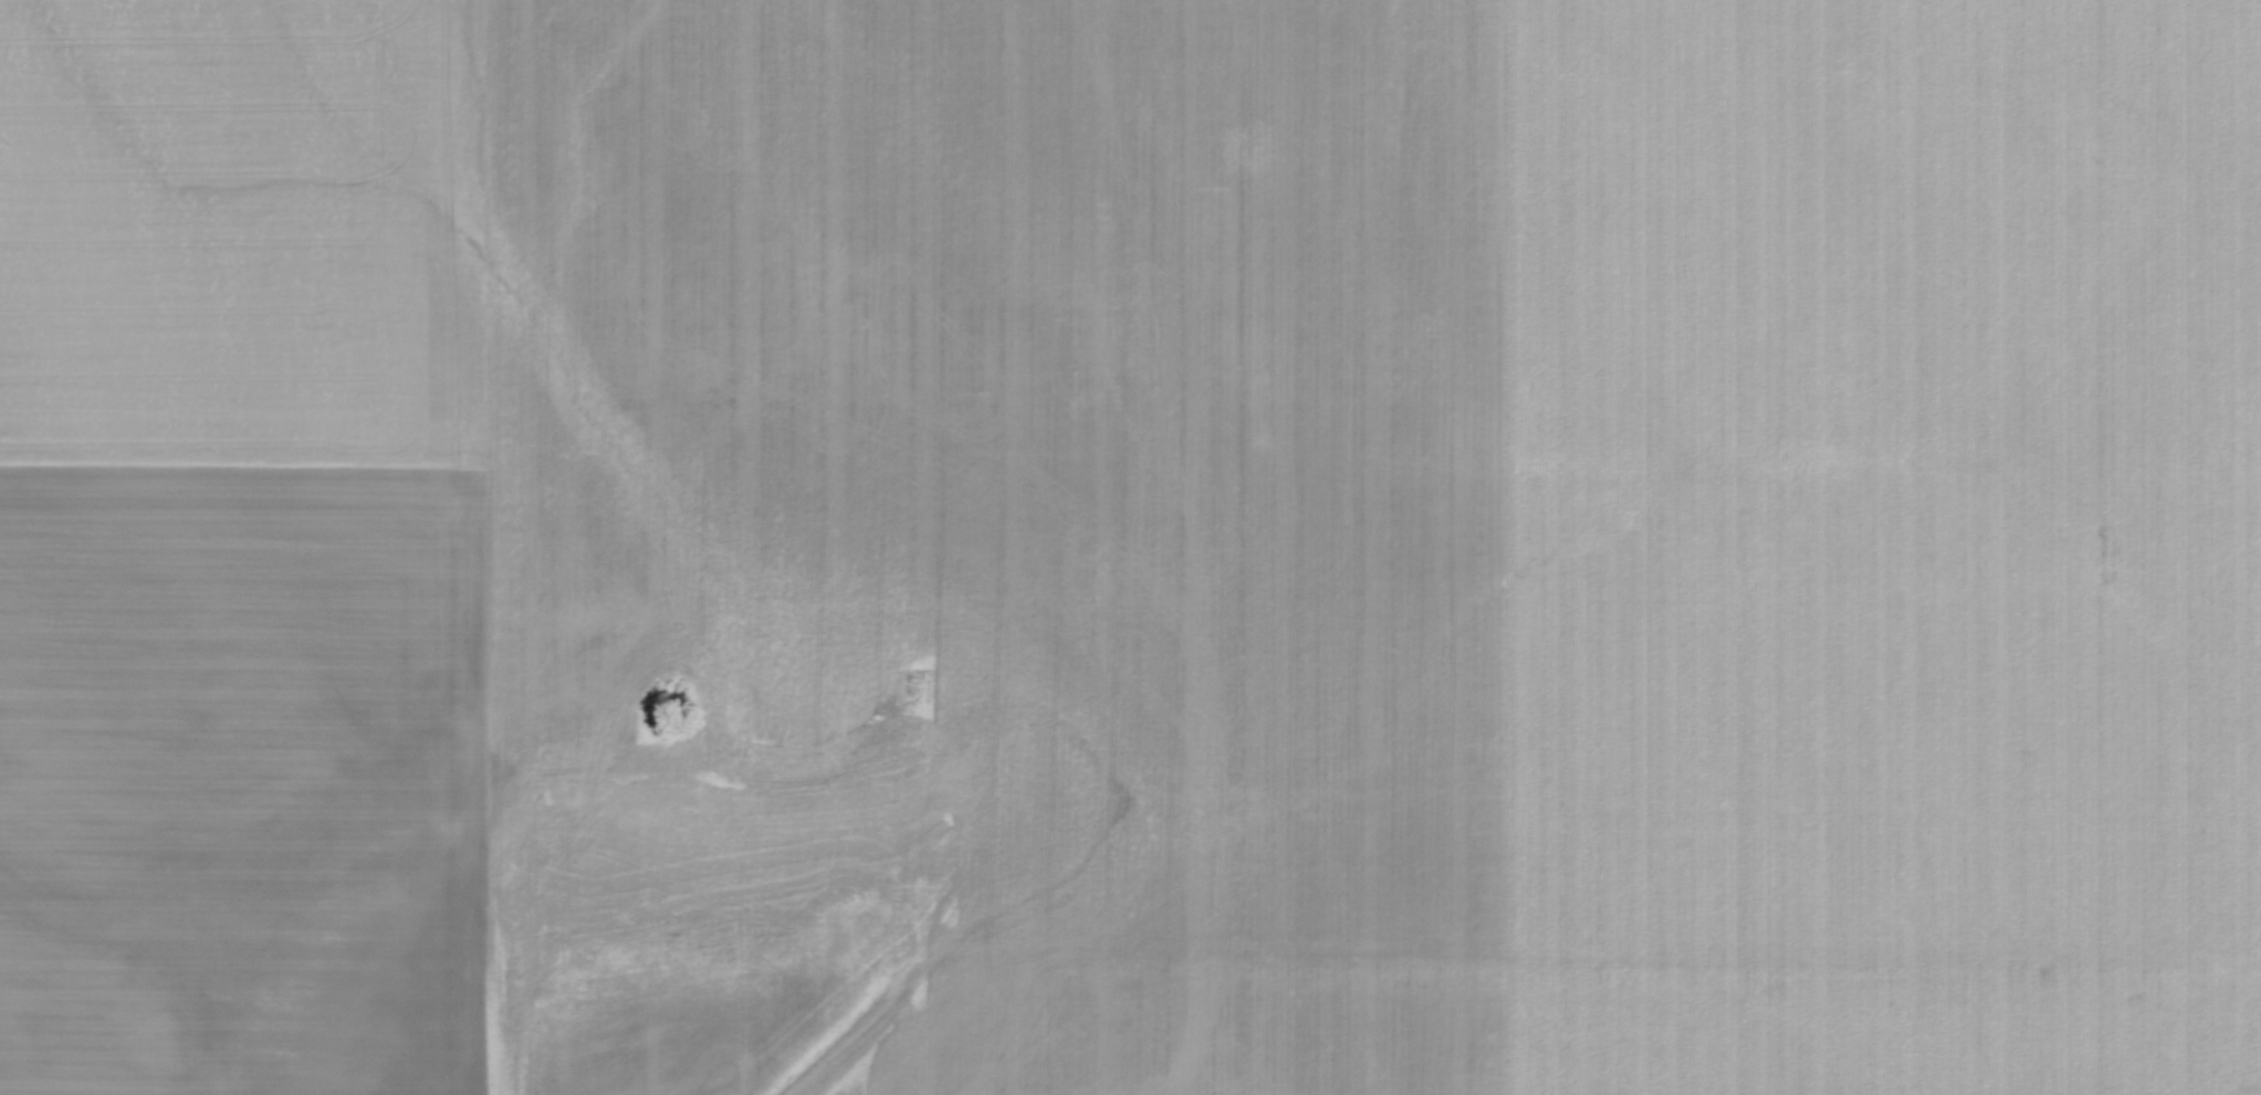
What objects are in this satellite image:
crop: (1150, 530)

